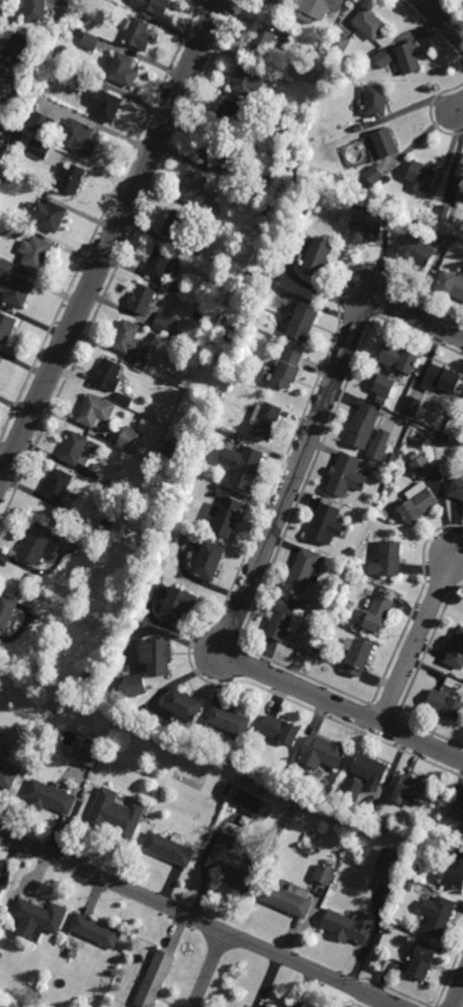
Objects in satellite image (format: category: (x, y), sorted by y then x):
building: (287, 1)
building: (275, 2)
building: (153, 5)
building: (321, 8)
building: (35, 10)
building: (80, 19)
road: (441, 22)
building: (278, 24)
building: (369, 24)
building: (137, 33)
building: (77, 34)
building: (89, 43)
building: (261, 43)
building: (339, 44)
building: (297, 46)
building: (17, 48)
building: (382, 58)
building: (407, 58)
building: (119, 70)
building: (0, 77)
building: (47, 77)
building: (276, 77)
building: (0, 78)
building: (247, 79)
building: (376, 100)
building: (105, 106)
road: (457, 108)
building: (233, 114)
building: (41, 125)
building: (358, 129)
building: (7, 134)
building: (15, 137)
building: (78, 138)
building: (385, 143)
building: (1, 144)
building: (214, 150)
building: (282, 167)
building: (373, 175)
building: (421, 177)
building: (5, 178)
building: (68, 179)
building: (388, 179)
building: (459, 188)
building: (198, 194)
building: (250, 205)
building: (310, 210)
building: (443, 213)
building: (49, 216)
building: (176, 225)
building: (15, 228)
building: (364, 229)
road: (109, 241)
building: (196, 247)
building: (416, 250)
building: (34, 253)
building: (317, 258)
building: (161, 263)
building: (248, 274)
building: (450, 285)
building: (13, 287)
building: (177, 288)
building: (142, 299)
building: (303, 323)
building: (166, 324)
building: (6, 328)
building: (127, 338)
building: (398, 359)
building: (142, 362)
building: (288, 369)
building: (109, 375)
building: (441, 379)
building: (383, 386)
building: (126, 398)
building: (136, 403)
building: (413, 405)
building: (142, 407)
building: (95, 412)
building: (267, 421)
building: (364, 427)
building: (441, 439)
building: (129, 440)
building: (234, 441)
building: (379, 445)
building: (94, 447)
building: (74, 448)
building: (414, 456)
building: (390, 462)
building: (164, 466)
building: (243, 467)
building: (422, 467)
building: (347, 476)
building: (58, 485)
building: (114, 485)
building: (456, 489)
building: (417, 503)
building: (227, 517)
building: (135, 518)
building: (326, 525)
building: (102, 537)
building: (37, 544)
road: (259, 553)
building: (352, 553)
building: (388, 560)
building: (209, 562)
building: (305, 571)
building: (178, 607)
building: (7, 610)
building: (378, 614)
building: (324, 616)
building: (355, 618)
building: (282, 619)
building: (351, 626)
road: (414, 642)
building: (456, 651)
building: (322, 653)
building: (358, 656)
building: (157, 658)
building: (88, 677)
building: (136, 685)
building: (183, 703)
building: (445, 703)
building: (229, 719)
building: (281, 729)
building: (163, 739)
building: (323, 752)
building: (90, 753)
building: (371, 770)
building: (7, 776)
building: (353, 788)
building: (225, 789)
building: (413, 790)
building: (49, 796)
building: (329, 797)
building: (267, 806)
building: (456, 811)
building: (116, 815)
building: (353, 823)
building: (386, 823)
building: (462, 837)
building: (169, 848)
building: (389, 861)
building: (233, 863)
building: (455, 870)
building: (411, 872)
building: (324, 874)
building: (408, 883)
building: (1, 889)
building: (289, 898)
building: (438, 915)
building: (38, 918)
road: (197, 920)
building: (350, 925)
building: (391, 928)
building: (95, 930)
building: (421, 960)
road: (209, 969)
building: (155, 979)
road: (457, 992)

